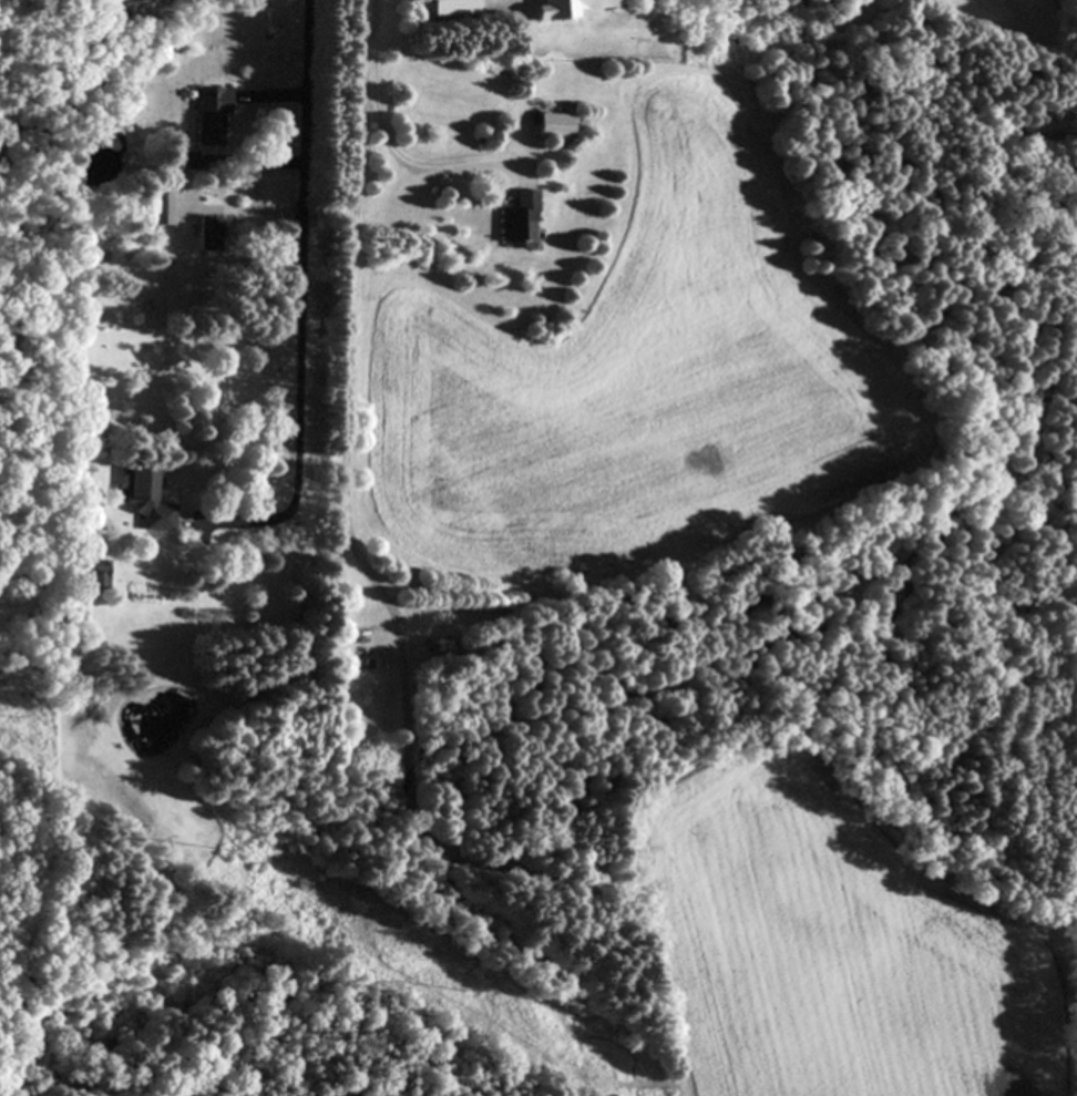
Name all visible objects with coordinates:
building: (449, 8)
building: (564, 9)
road: (277, 92)
building: (208, 115)
building: (551, 127)
road: (390, 141)
building: (182, 162)
building: (158, 208)
road: (261, 212)
building: (515, 222)
building: (206, 236)
road: (302, 301)
building: (146, 502)
building: (93, 574)

